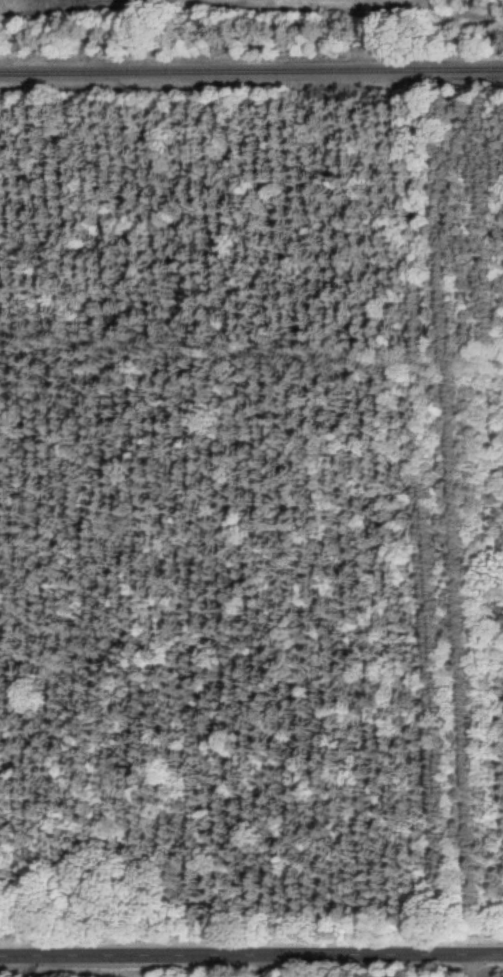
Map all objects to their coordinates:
railway: (251, 69)
road: (251, 953)
road: (18, 965)
road: (253, 965)
road: (467, 965)

